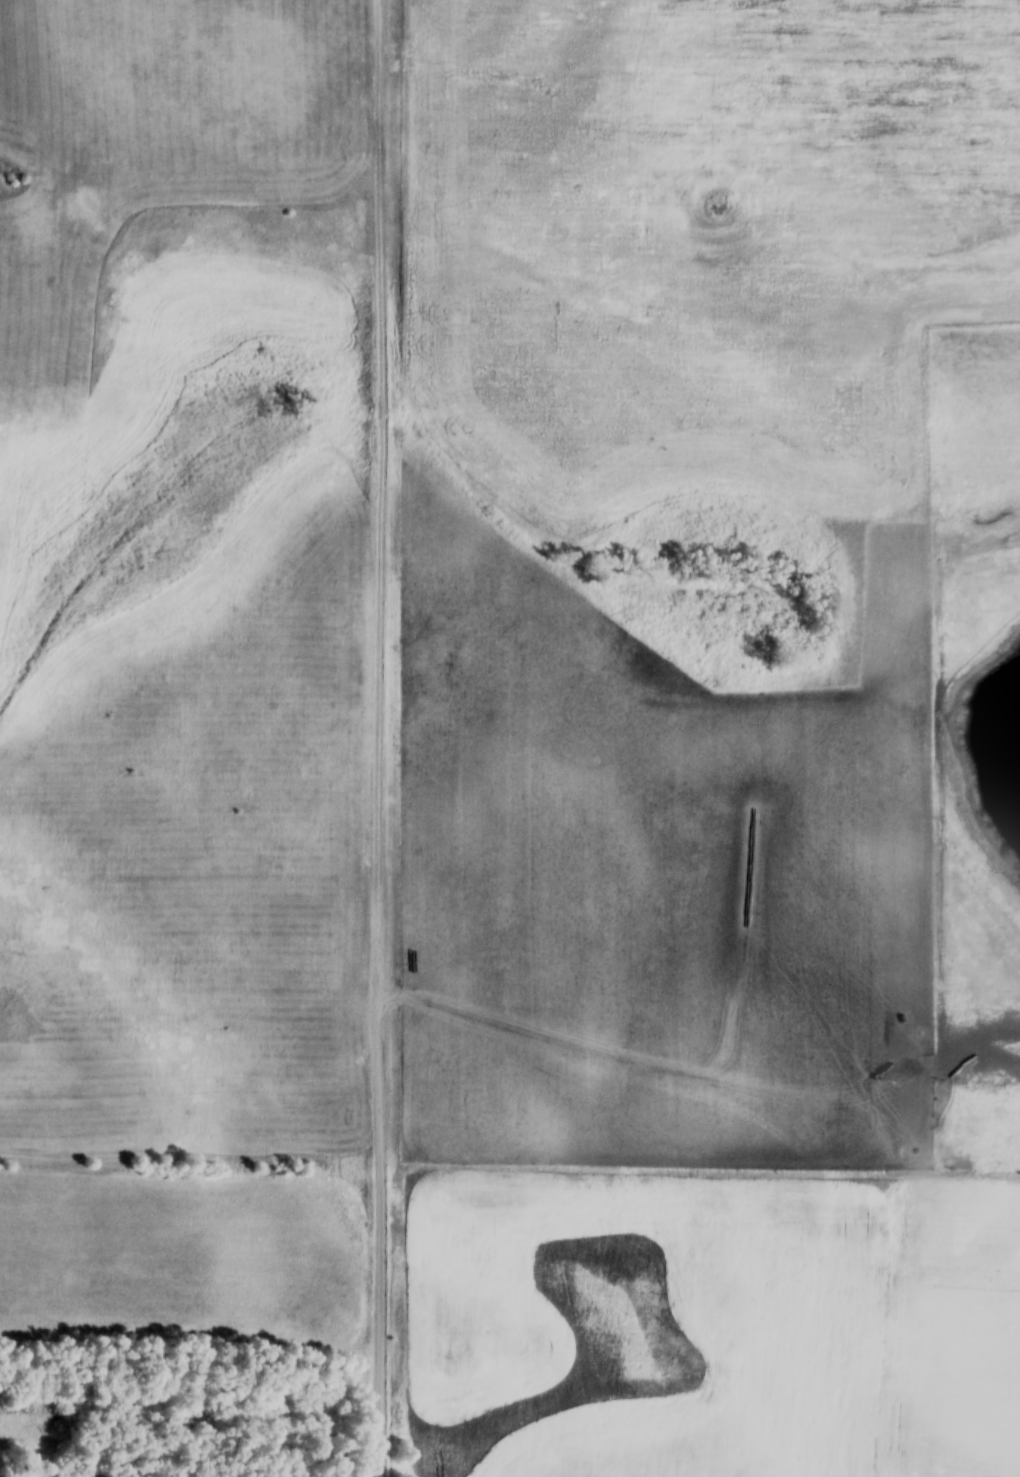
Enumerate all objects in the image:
road: (379, 738)

